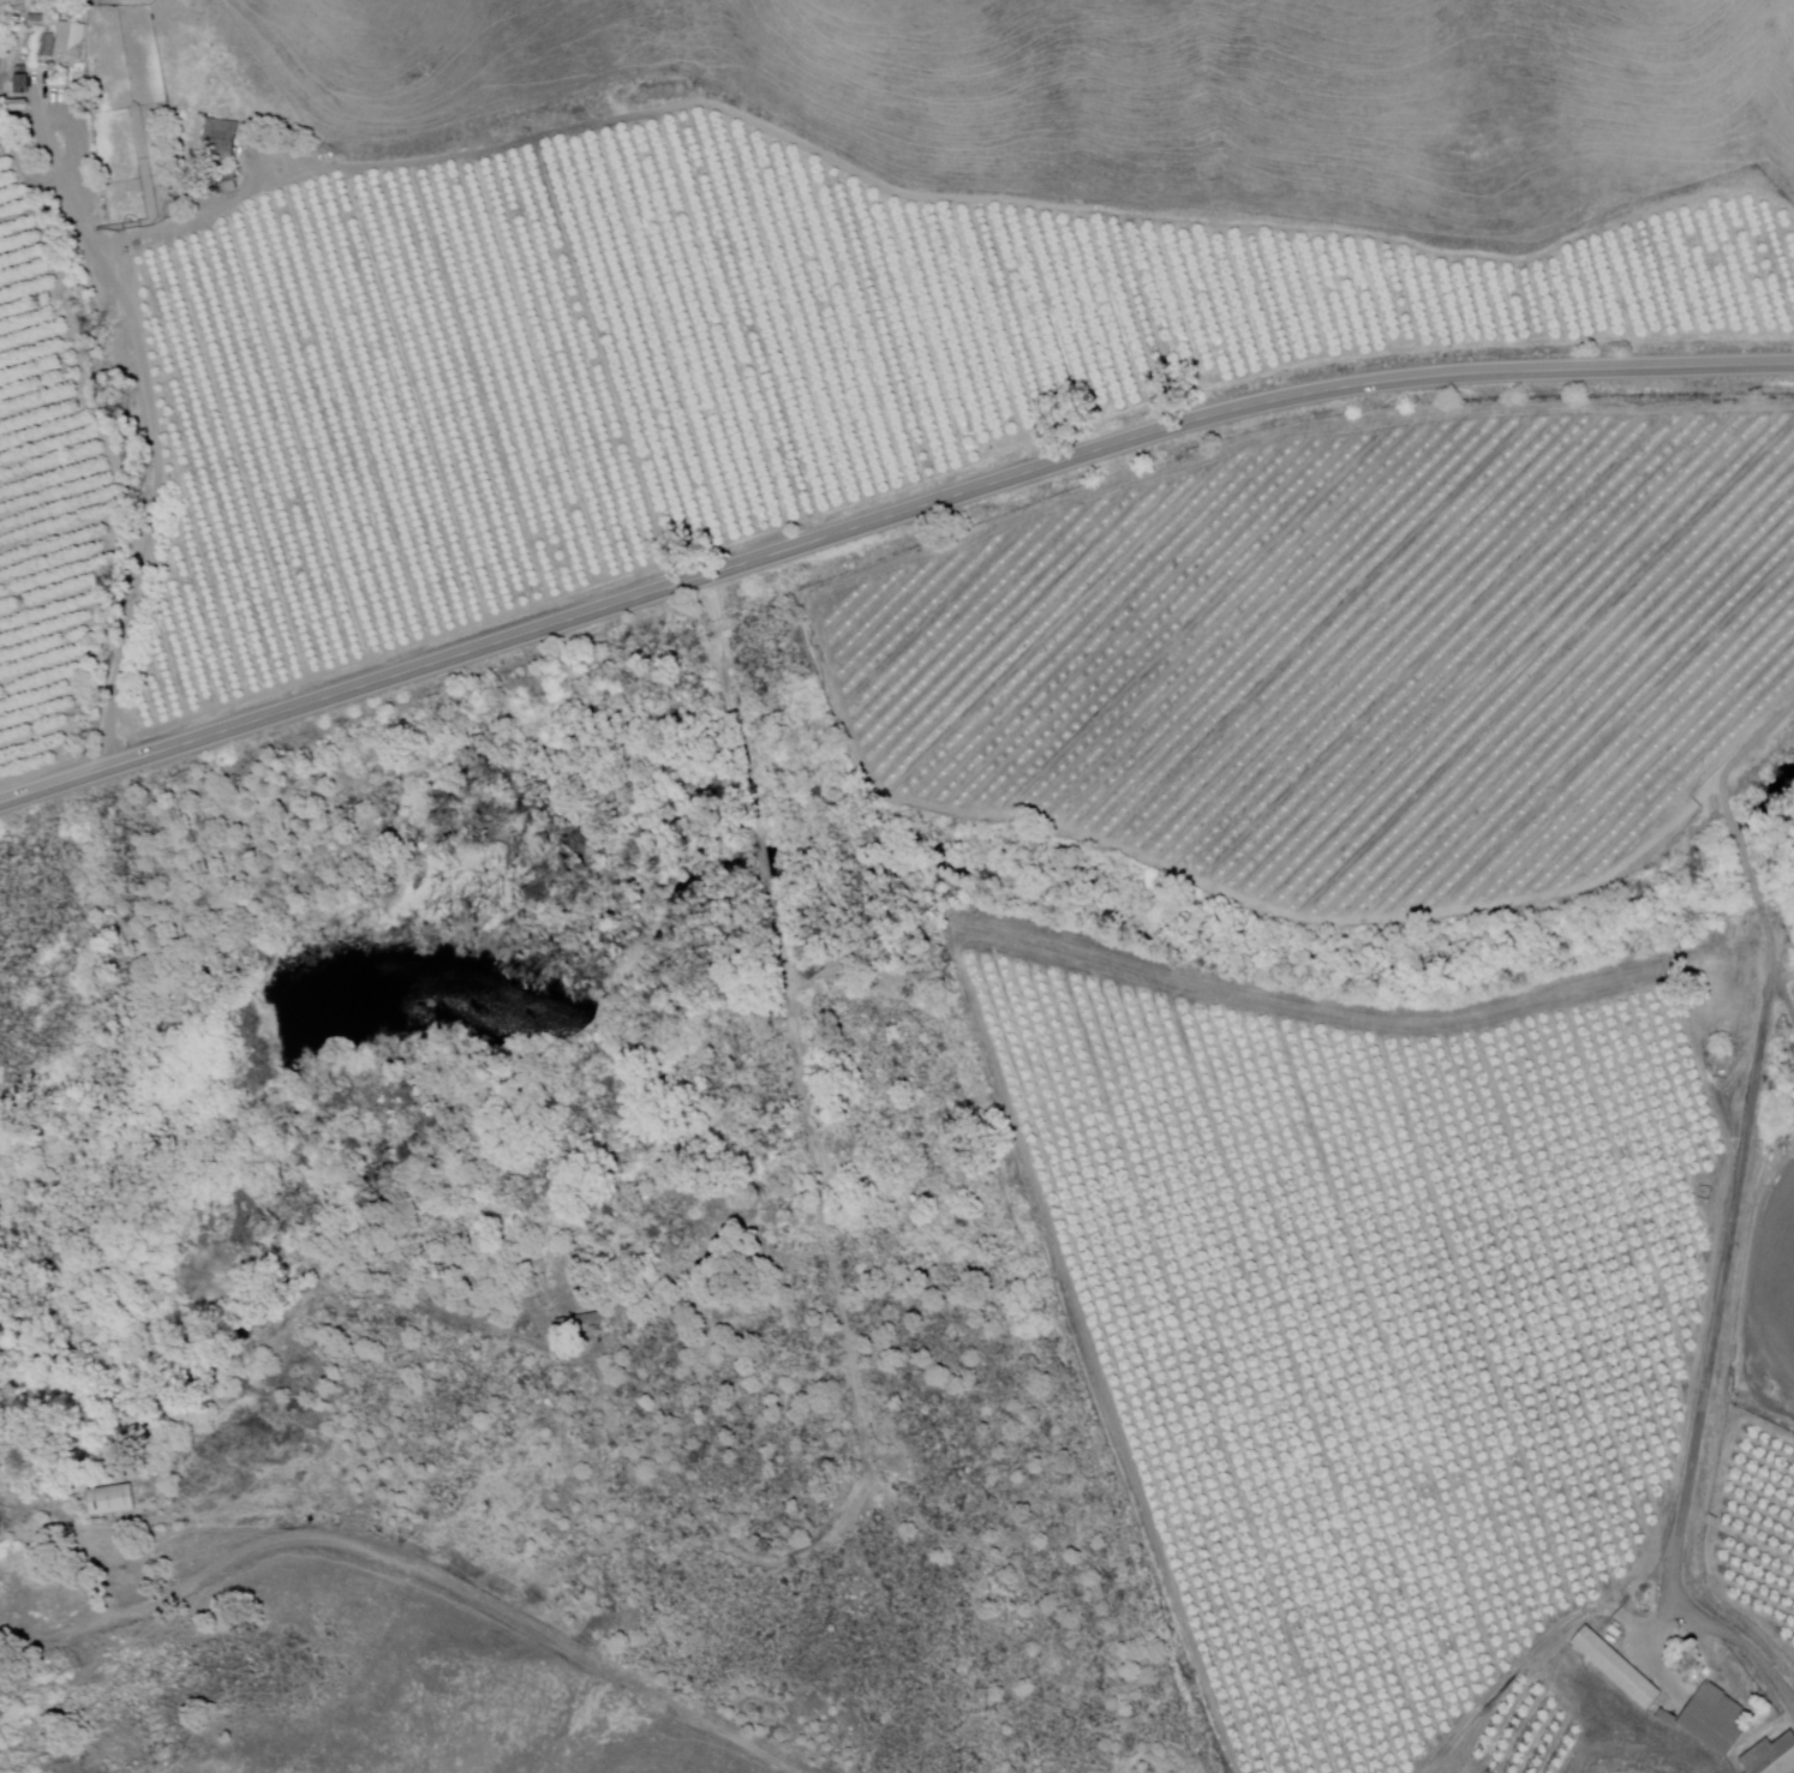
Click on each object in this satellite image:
building: (68, 41)
building: (46, 44)
building: (220, 138)
building: (213, 186)
road: (140, 427)
road: (884, 519)
crop: (1352, 653)
road: (1747, 749)
road: (1745, 857)
road: (1786, 974)
crop: (1770, 1305)
crop: (1367, 1307)
building: (581, 1323)
road: (1714, 1331)
building: (109, 1499)
crop: (1758, 1532)
road: (412, 1568)
building: (1617, 1669)
building: (1714, 1719)
building: (1771, 1756)

